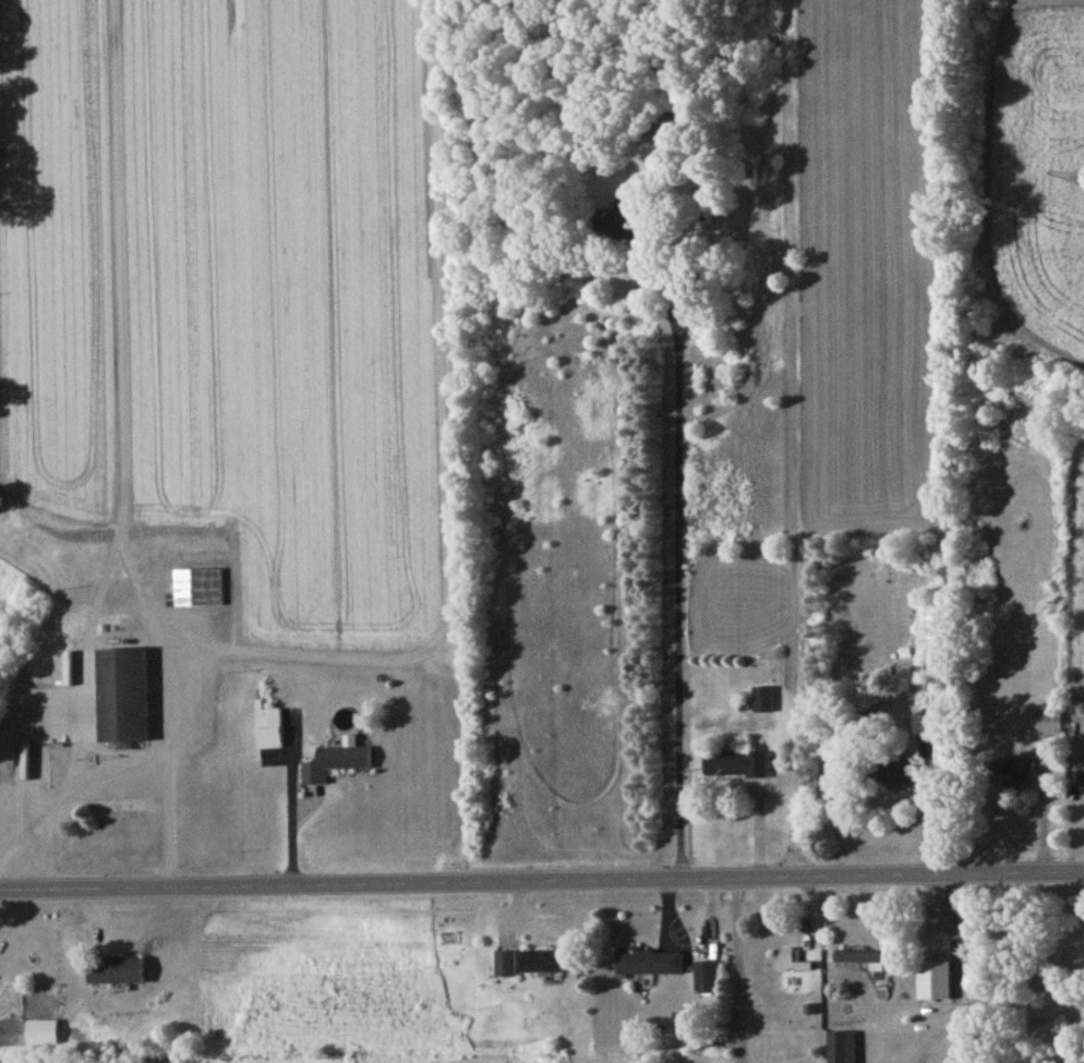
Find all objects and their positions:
road: (680, 517)
building: (200, 591)
building: (123, 699)
building: (763, 702)
building: (1049, 724)
building: (926, 728)
building: (270, 733)
road: (170, 760)
building: (345, 761)
building: (736, 768)
building: (1013, 773)
building: (900, 776)
road: (69, 801)
road: (292, 811)
road: (542, 884)
building: (865, 961)
building: (787, 963)
building: (542, 965)
building: (649, 965)
building: (505, 967)
road: (742, 971)
building: (116, 974)
building: (708, 980)
building: (935, 983)
building: (41, 1036)
building: (842, 1049)

